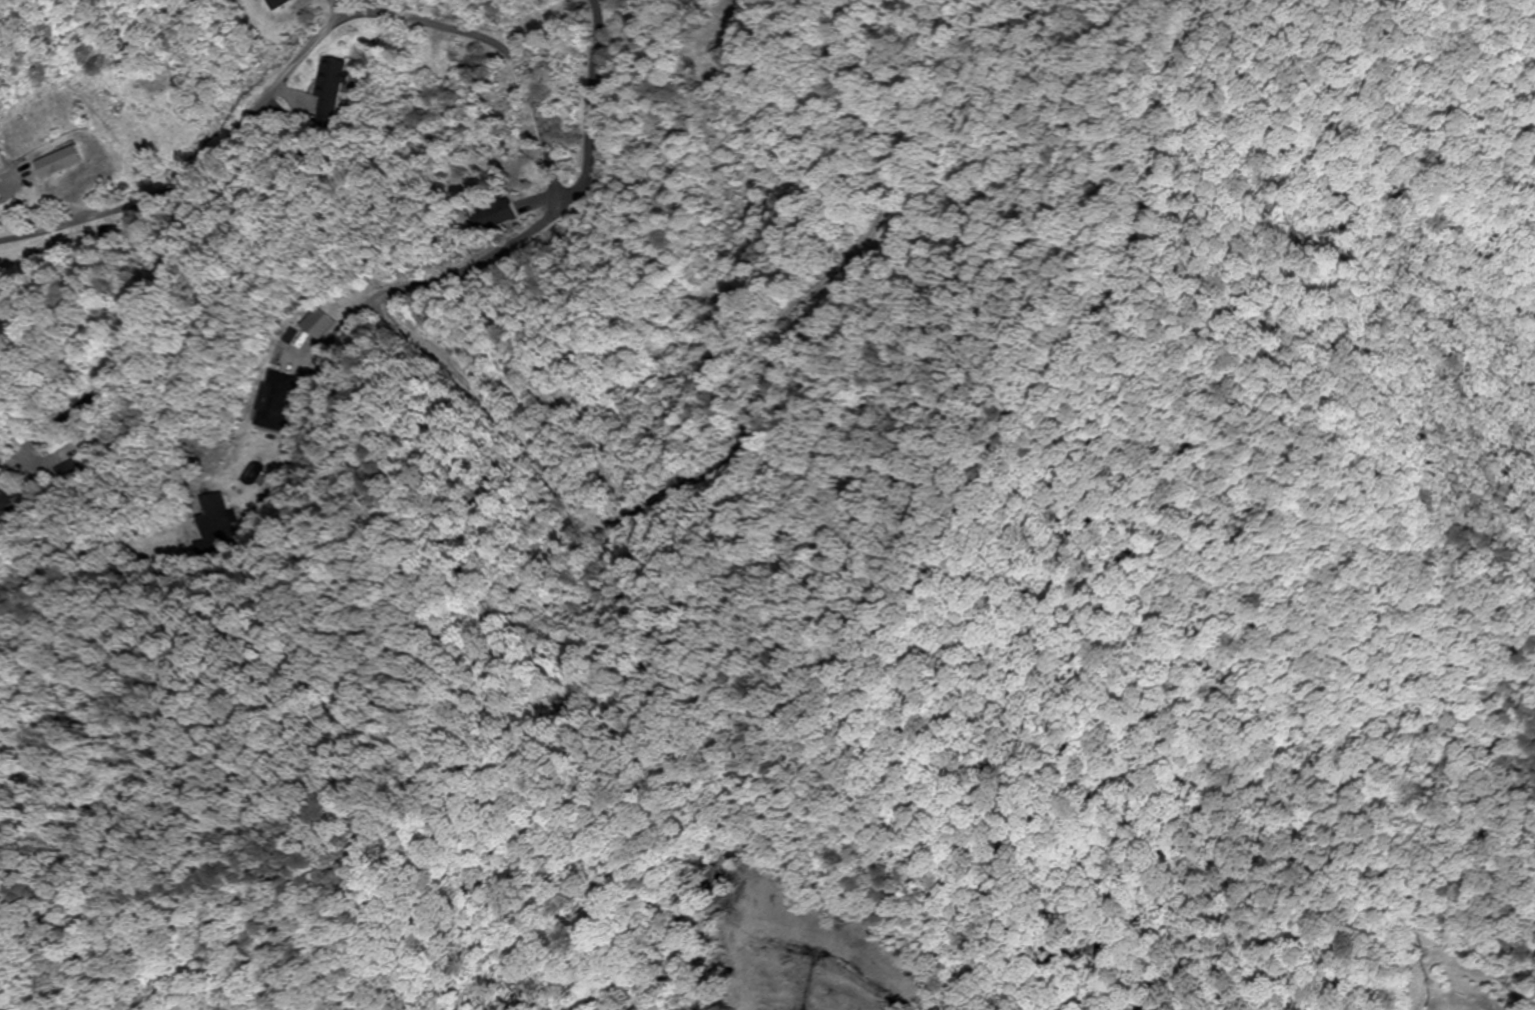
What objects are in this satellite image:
building: (282, 4)
road: (333, 15)
building: (333, 79)
road: (543, 147)
building: (57, 163)
road: (187, 168)
building: (499, 214)
road: (306, 314)
building: (264, 401)
building: (7, 500)
building: (208, 502)
road: (144, 549)

